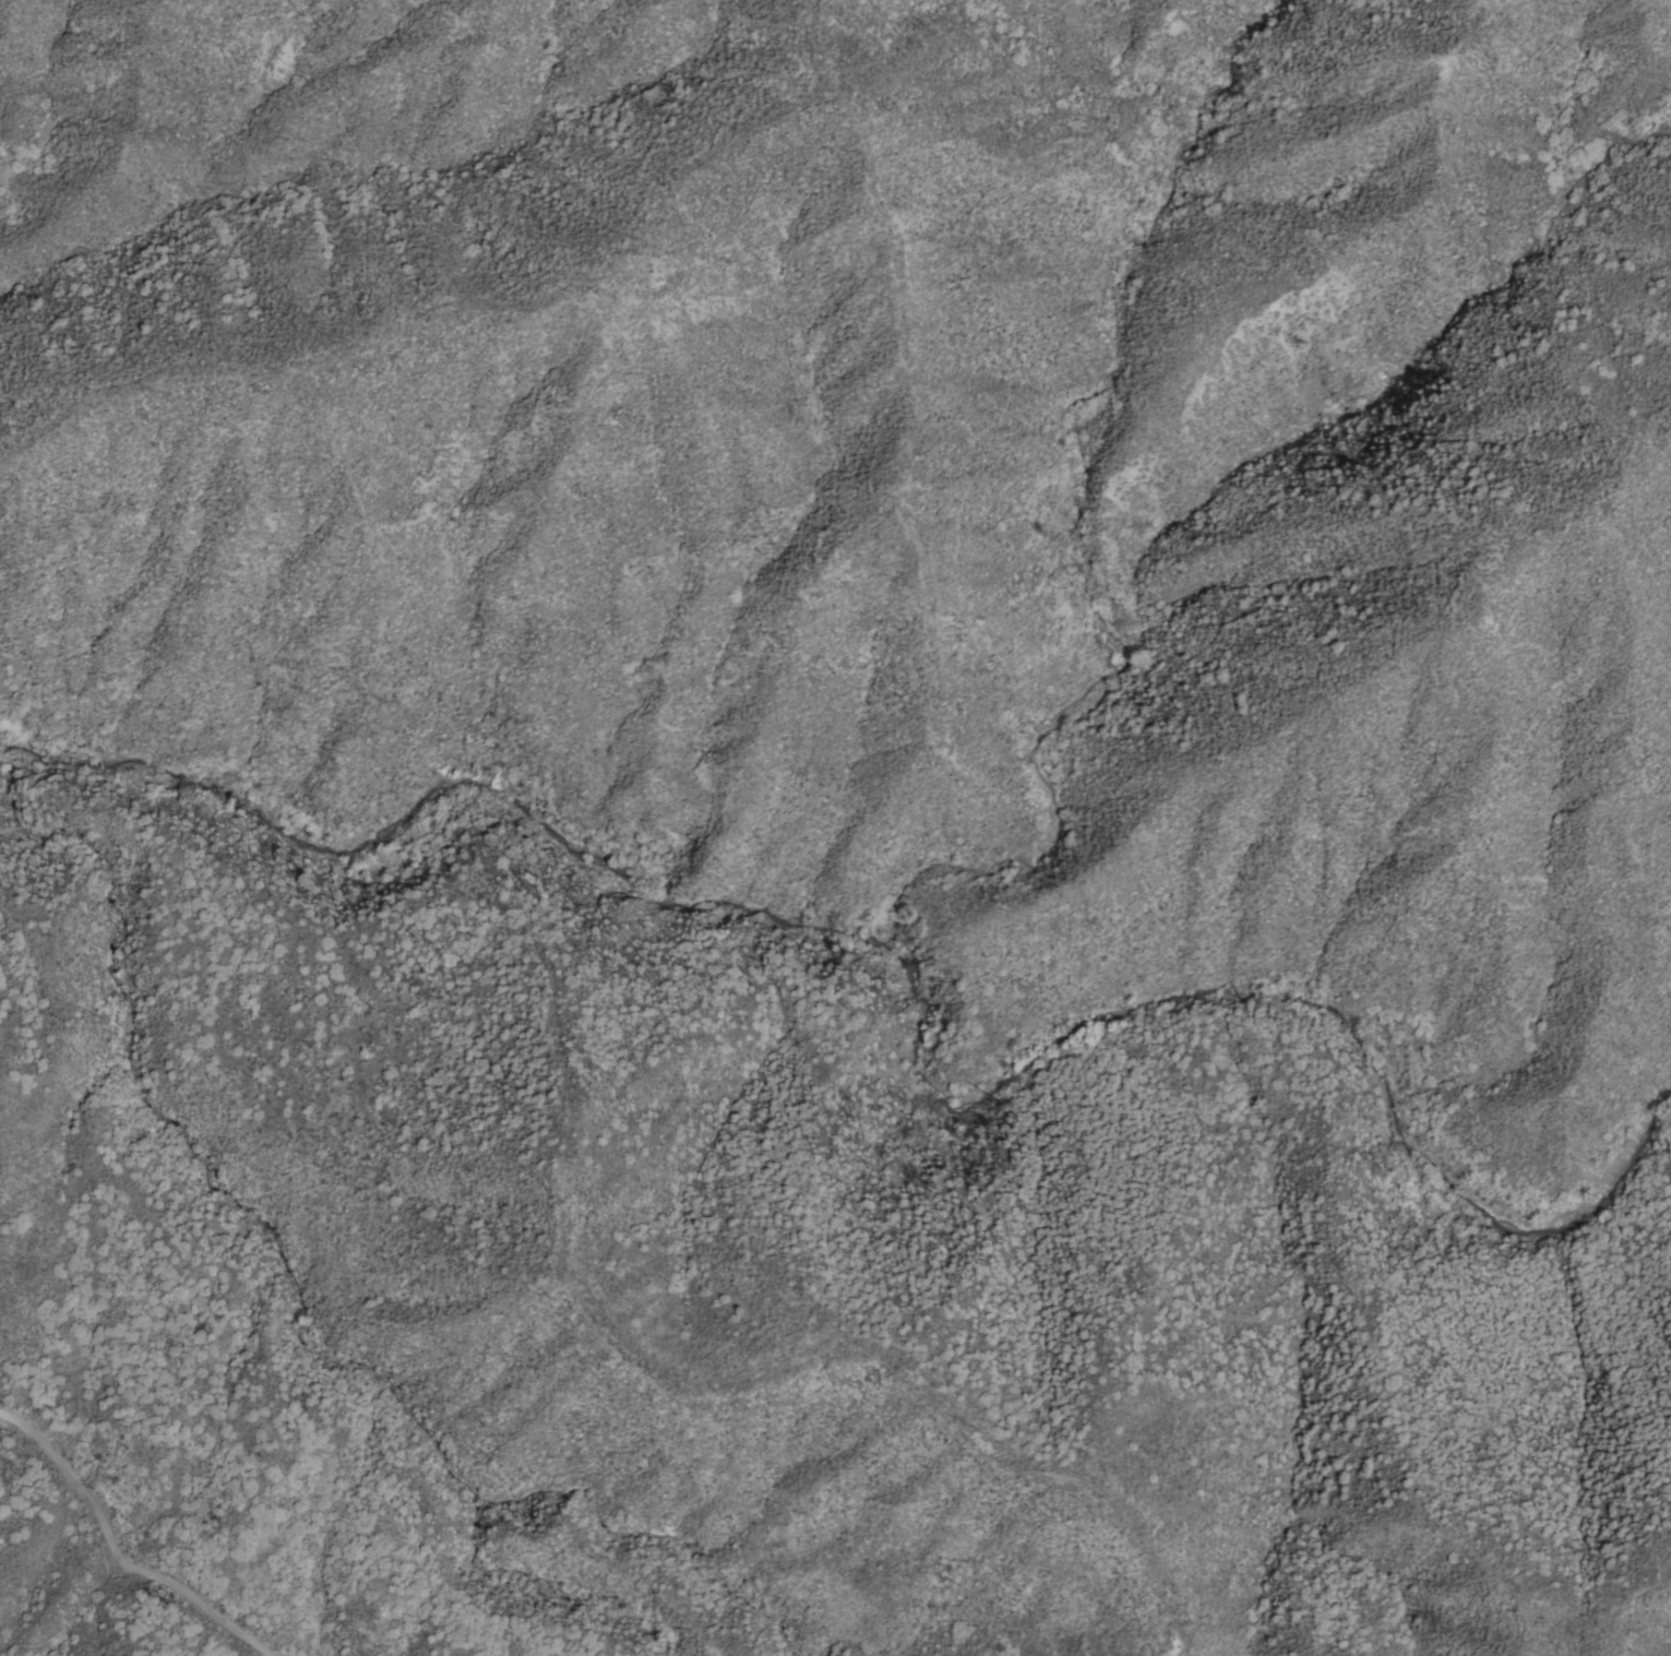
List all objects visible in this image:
road: (114, 1552)

